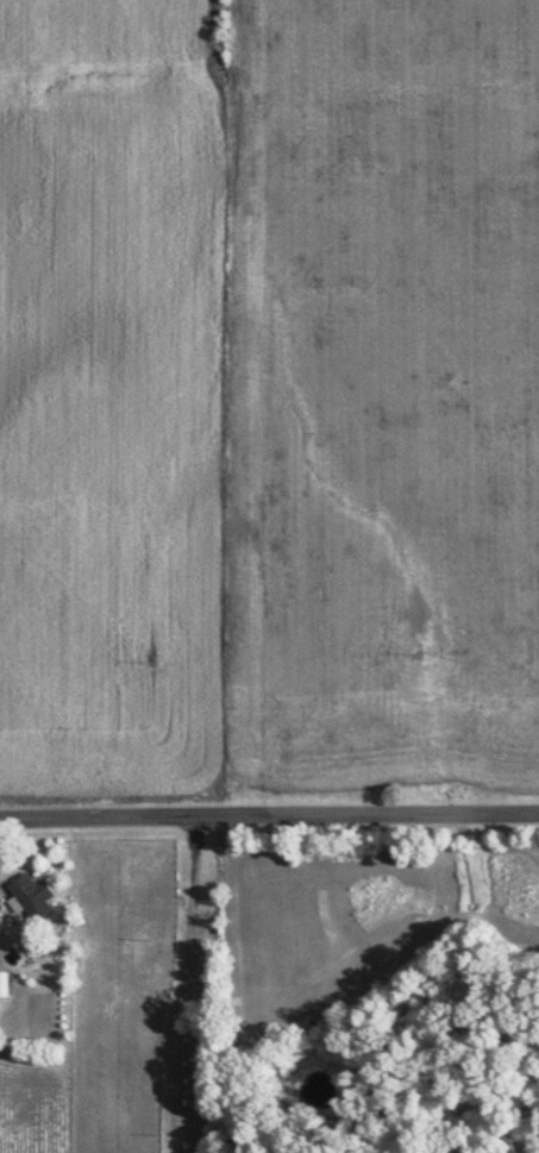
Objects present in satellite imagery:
road: (269, 814)
building: (30, 897)
building: (4, 982)

